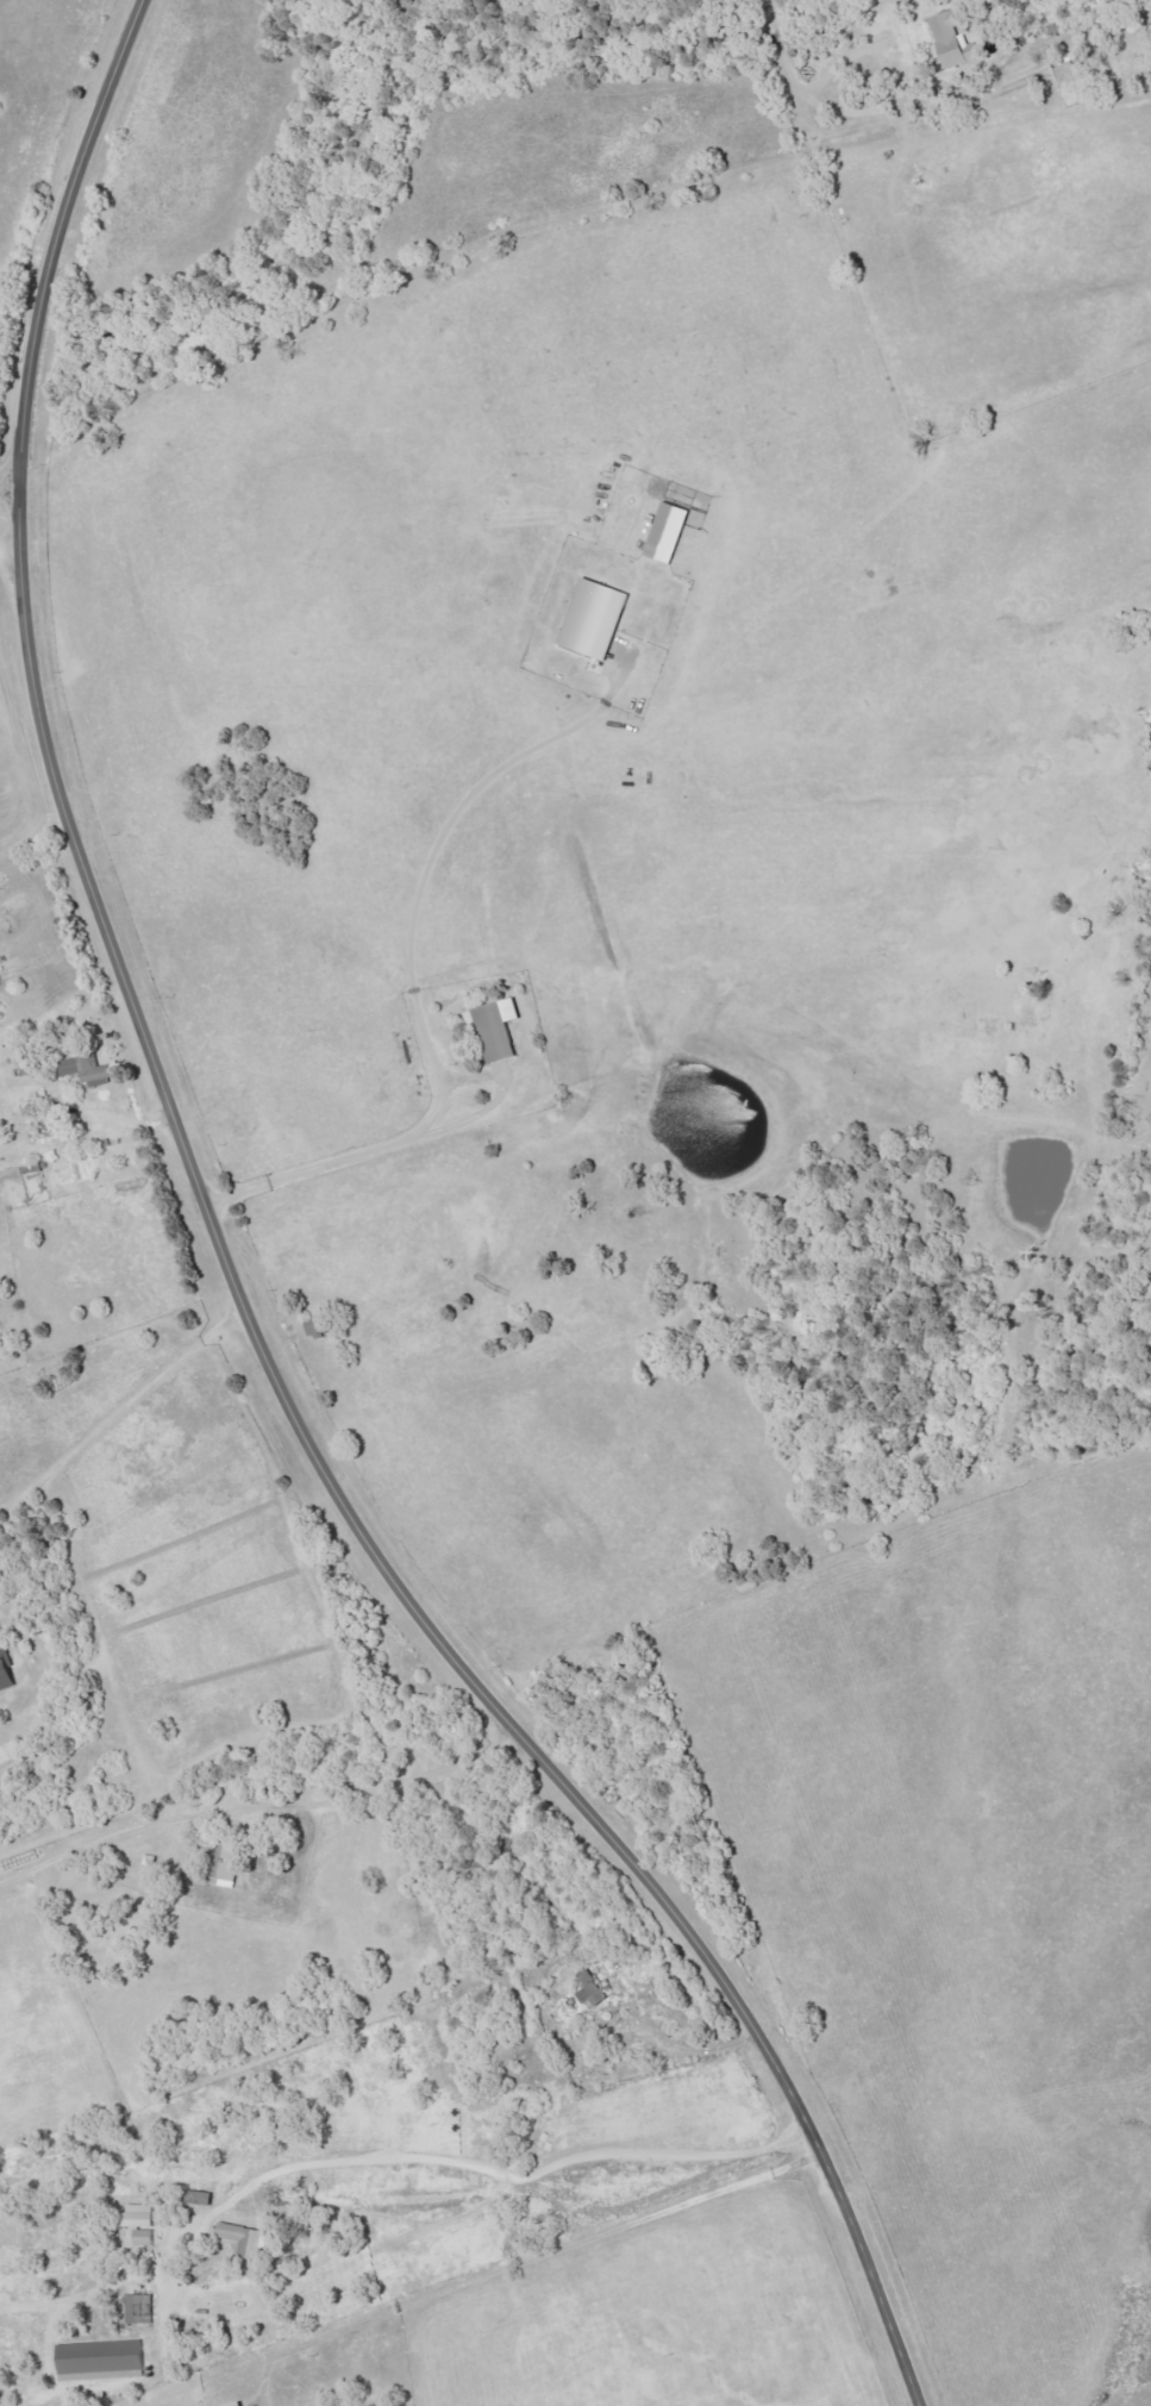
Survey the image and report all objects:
building: (952, 42)
road: (780, 54)
road: (13, 462)
building: (670, 532)
road: (14, 579)
building: (596, 619)
road: (426, 870)
building: (498, 1027)
building: (88, 1069)
road: (312, 1170)
road: (232, 1279)
building: (317, 1326)
road: (123, 1418)
building: (6, 1670)
road: (259, 1806)
building: (594, 1991)
road: (692, 2050)
road: (474, 2185)
building: (139, 2223)
building: (244, 2239)
road: (544, 2257)
building: (139, 2310)
building: (101, 2358)
building: (238, 2404)

